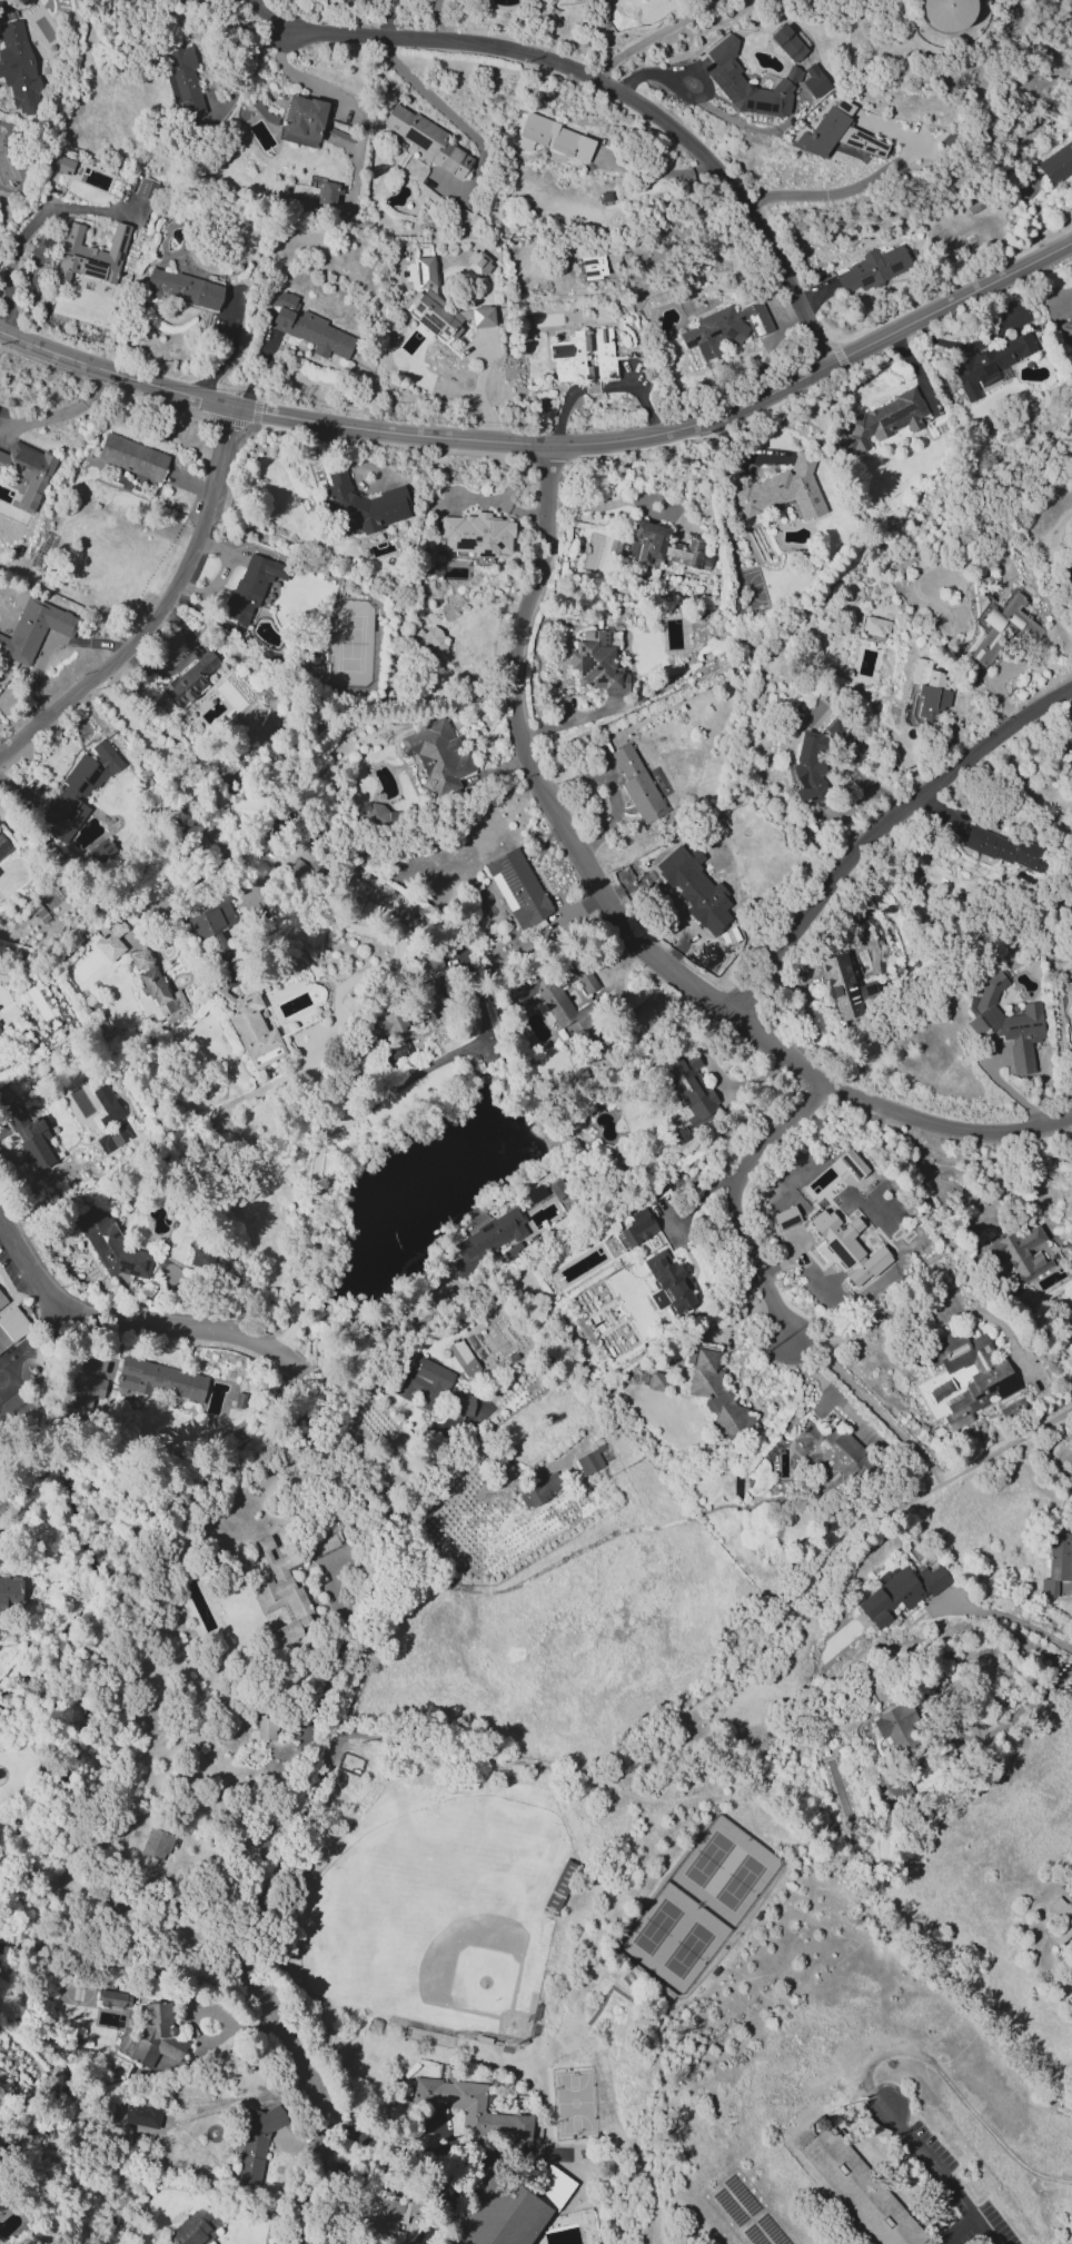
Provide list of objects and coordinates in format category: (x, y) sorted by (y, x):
building: (348, 1)
building: (947, 13)
road: (629, 33)
building: (787, 43)
building: (18, 67)
road: (247, 67)
road: (669, 68)
building: (725, 76)
road: (301, 77)
building: (814, 80)
building: (181, 82)
road: (622, 95)
road: (434, 100)
building: (302, 120)
building: (555, 137)
building: (838, 138)
building: (426, 139)
building: (1056, 163)
building: (63, 166)
road: (653, 171)
building: (145, 188)
building: (327, 192)
road: (817, 193)
road: (14, 251)
building: (91, 255)
building: (477, 262)
building: (593, 267)
building: (872, 269)
building: (182, 289)
building: (440, 305)
building: (306, 327)
building: (725, 328)
building: (1066, 330)
road: (228, 349)
building: (584, 356)
road: (909, 360)
building: (991, 364)
road: (113, 371)
road: (599, 386)
road: (478, 393)
road: (61, 414)
building: (882, 420)
road: (671, 429)
building: (131, 457)
building: (27, 470)
building: (785, 492)
road: (494, 500)
building: (363, 503)
building: (473, 535)
building: (661, 547)
building: (1068, 578)
building: (250, 586)
road: (161, 608)
building: (874, 626)
building: (1022, 627)
building: (33, 629)
building: (429, 642)
road: (47, 648)
building: (598, 665)
building: (189, 681)
building: (927, 691)
building: (436, 754)
building: (810, 765)
road: (197, 771)
building: (636, 784)
building: (77, 791)
building: (371, 815)
road: (880, 830)
building: (3, 846)
building: (1004, 847)
building: (517, 887)
building: (211, 919)
road: (623, 926)
road: (527, 939)
building: (110, 942)
building: (139, 960)
building: (2, 974)
road: (937, 979)
building: (841, 986)
building: (553, 990)
building: (159, 996)
building: (256, 1014)
building: (391, 1023)
building: (1006, 1023)
building: (1, 1035)
building: (0, 1051)
building: (691, 1089)
building: (107, 1103)
road: (322, 1132)
building: (31, 1138)
building: (853, 1162)
road: (926, 1170)
road: (735, 1197)
building: (784, 1218)
building: (637, 1227)
building: (487, 1239)
building: (110, 1244)
building: (846, 1245)
building: (1020, 1254)
road: (26, 1259)
building: (214, 1265)
building: (667, 1283)
building: (2, 1298)
building: (10, 1325)
road: (373, 1327)
road: (865, 1327)
road: (183, 1328)
building: (463, 1357)
building: (970, 1374)
building: (159, 1380)
building: (421, 1381)
building: (657, 1381)
building: (86, 1392)
building: (715, 1394)
building: (461, 1403)
road: (868, 1404)
road: (347, 1451)
building: (833, 1451)
building: (588, 1462)
building: (537, 1490)
building: (325, 1540)
building: (1056, 1562)
building: (9, 1592)
building: (900, 1592)
building: (282, 1593)
road: (1005, 1618)
road: (728, 1677)
road: (1028, 1699)
building: (266, 1728)
building: (897, 1731)
road: (328, 1752)
building: (896, 1785)
building: (155, 1844)
park: (707, 1858)
park: (738, 1881)
building: (558, 1888)
park: (455, 1902)
building: (112, 1904)
building: (1060, 1920)
park: (656, 1924)
park: (686, 1947)
road: (123, 1969)
building: (110, 1998)
building: (153, 2035)
park: (573, 2102)
road: (314, 2104)
building: (469, 2107)
building: (141, 2115)
building: (255, 2142)
road: (431, 2144)
road: (937, 2175)
road: (647, 2177)
building: (550, 2185)
building: (860, 2187)
building: (0, 2208)
building: (499, 2214)
building: (387, 2217)
road: (556, 2227)
road: (955, 2231)
road: (1065, 2240)

